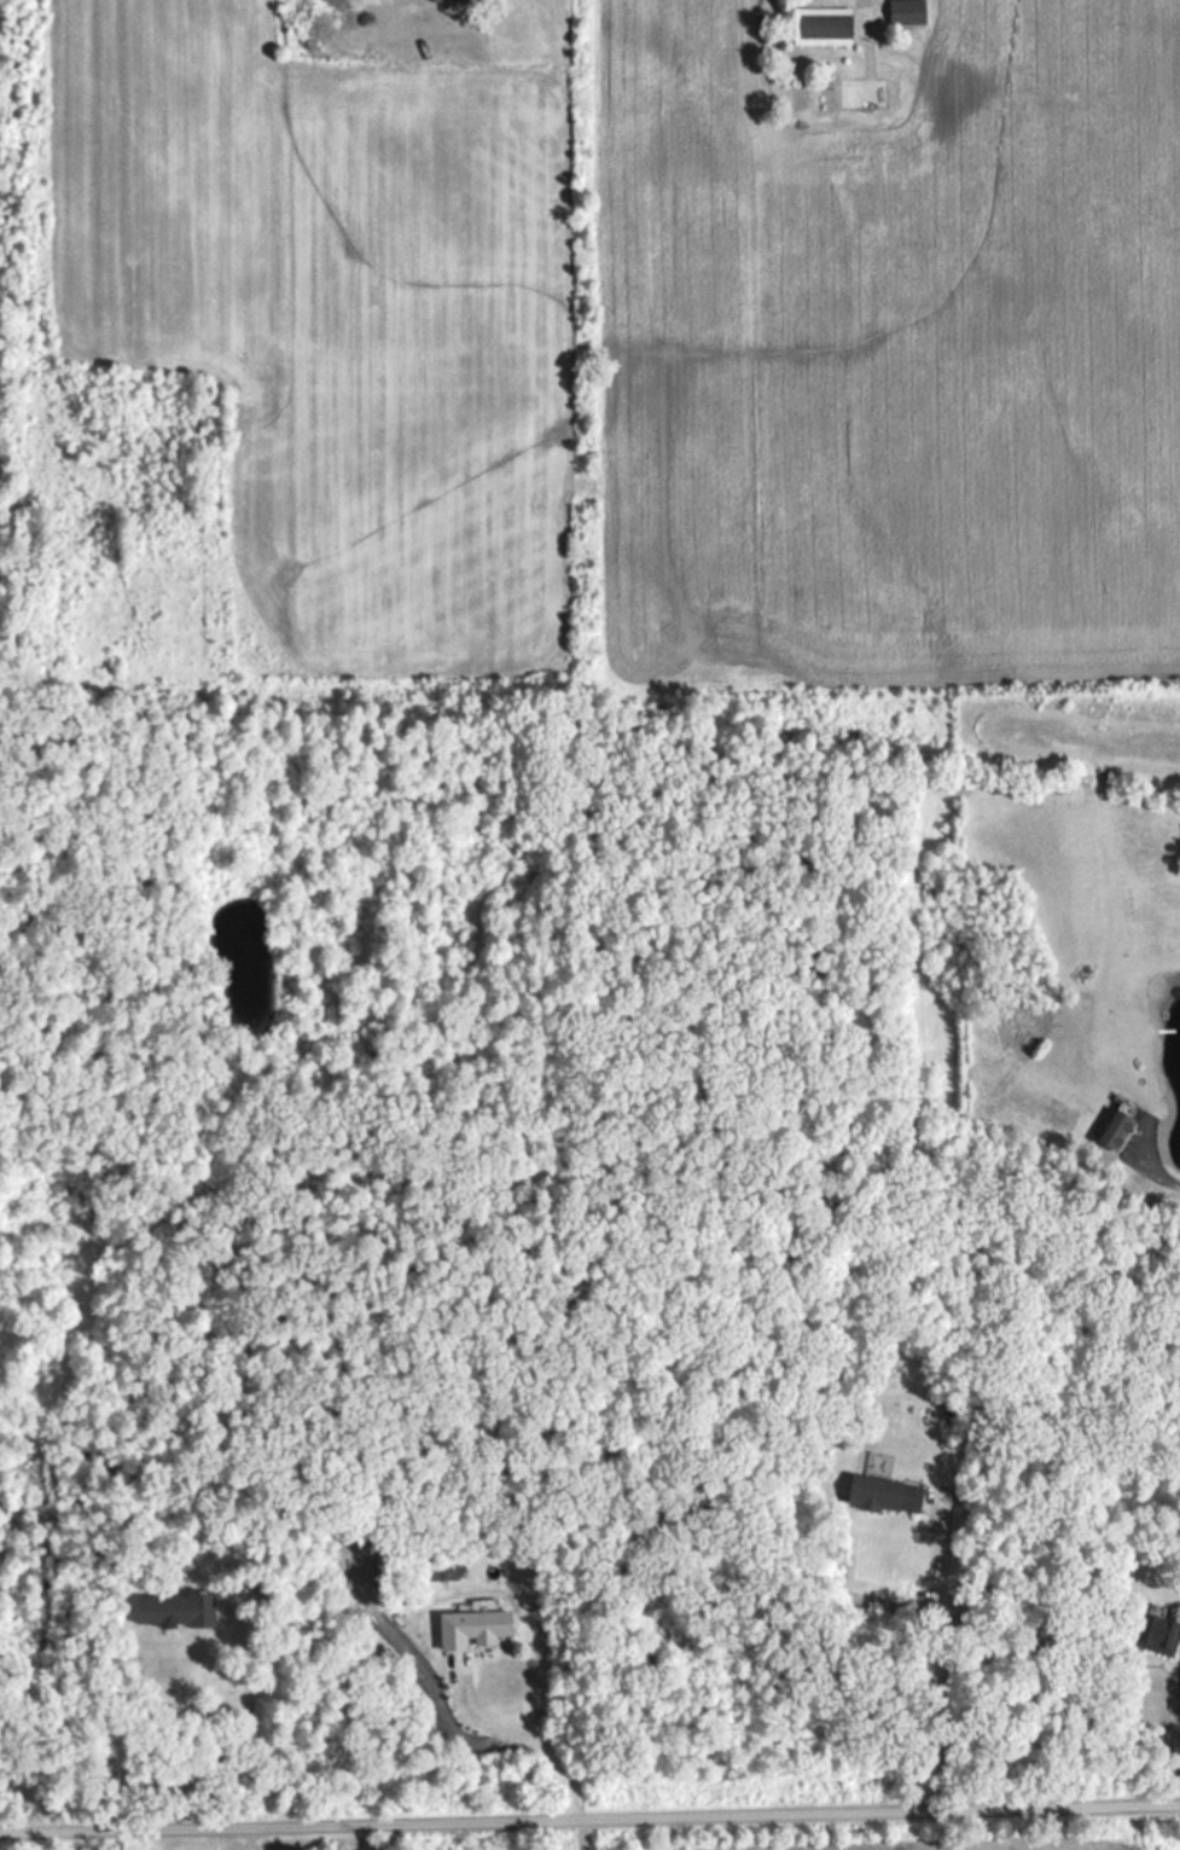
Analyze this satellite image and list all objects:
building: (464, 1)
road: (400, 2)
road: (858, 5)
building: (825, 29)
building: (870, 95)
building: (1120, 1129)
building: (893, 1496)
building: (180, 1611)
building: (479, 1630)
building: (1161, 1634)
road: (937, 1653)
road: (524, 1735)
road: (589, 1820)
road: (589, 1835)

